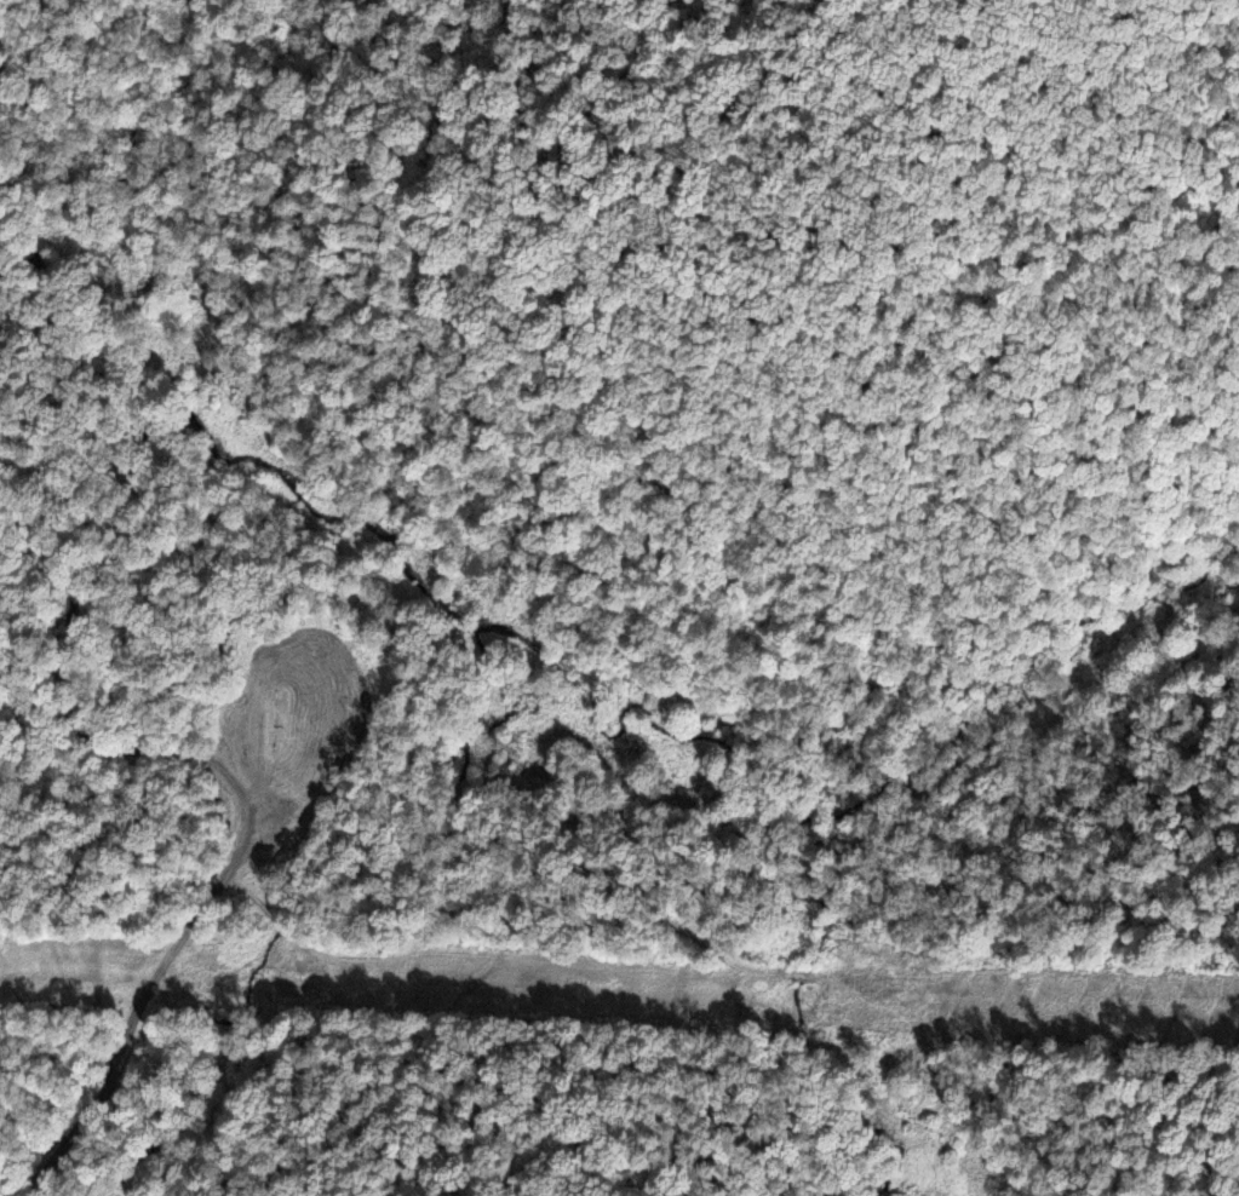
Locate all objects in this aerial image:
road: (248, 804)

